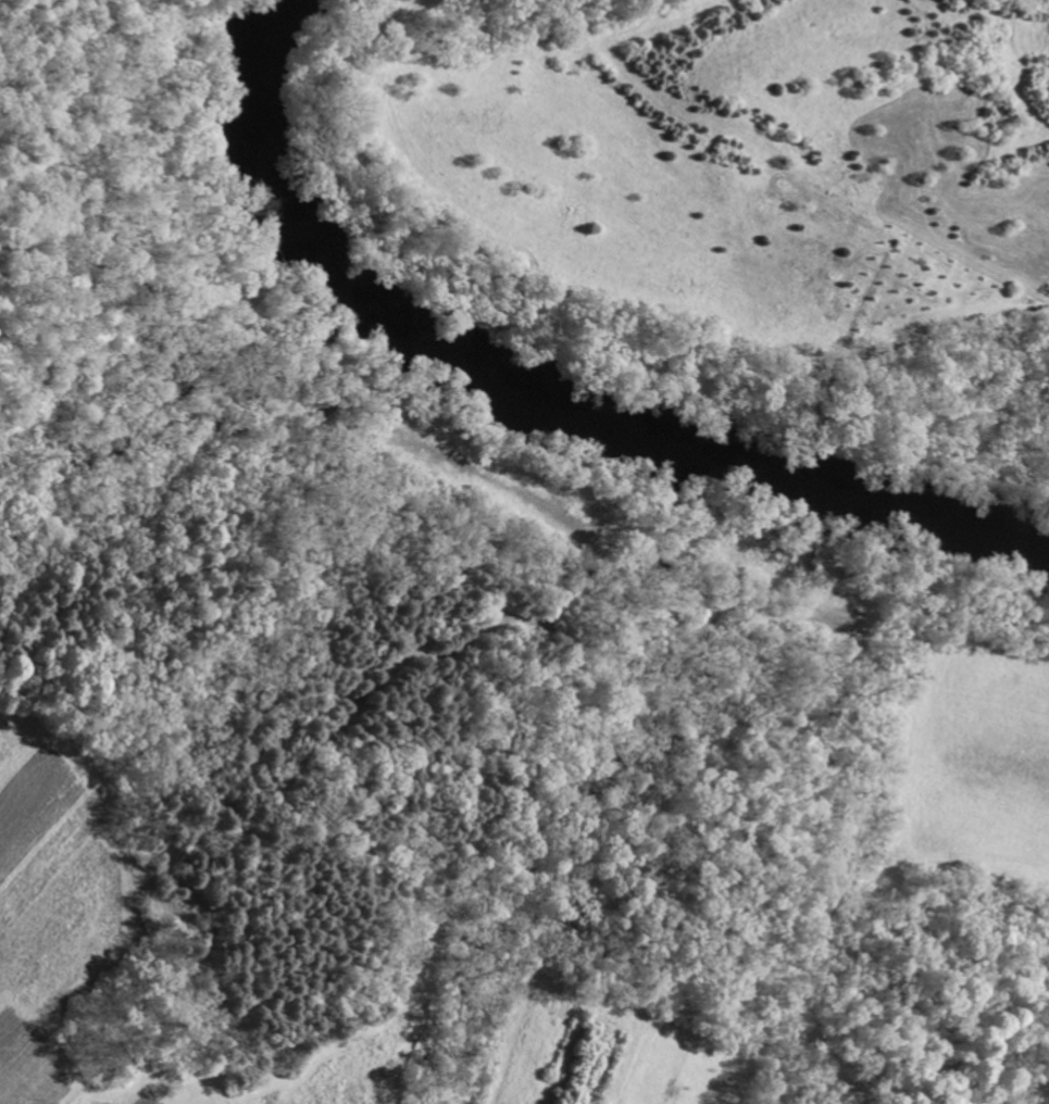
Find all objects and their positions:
river: (525, 384)

